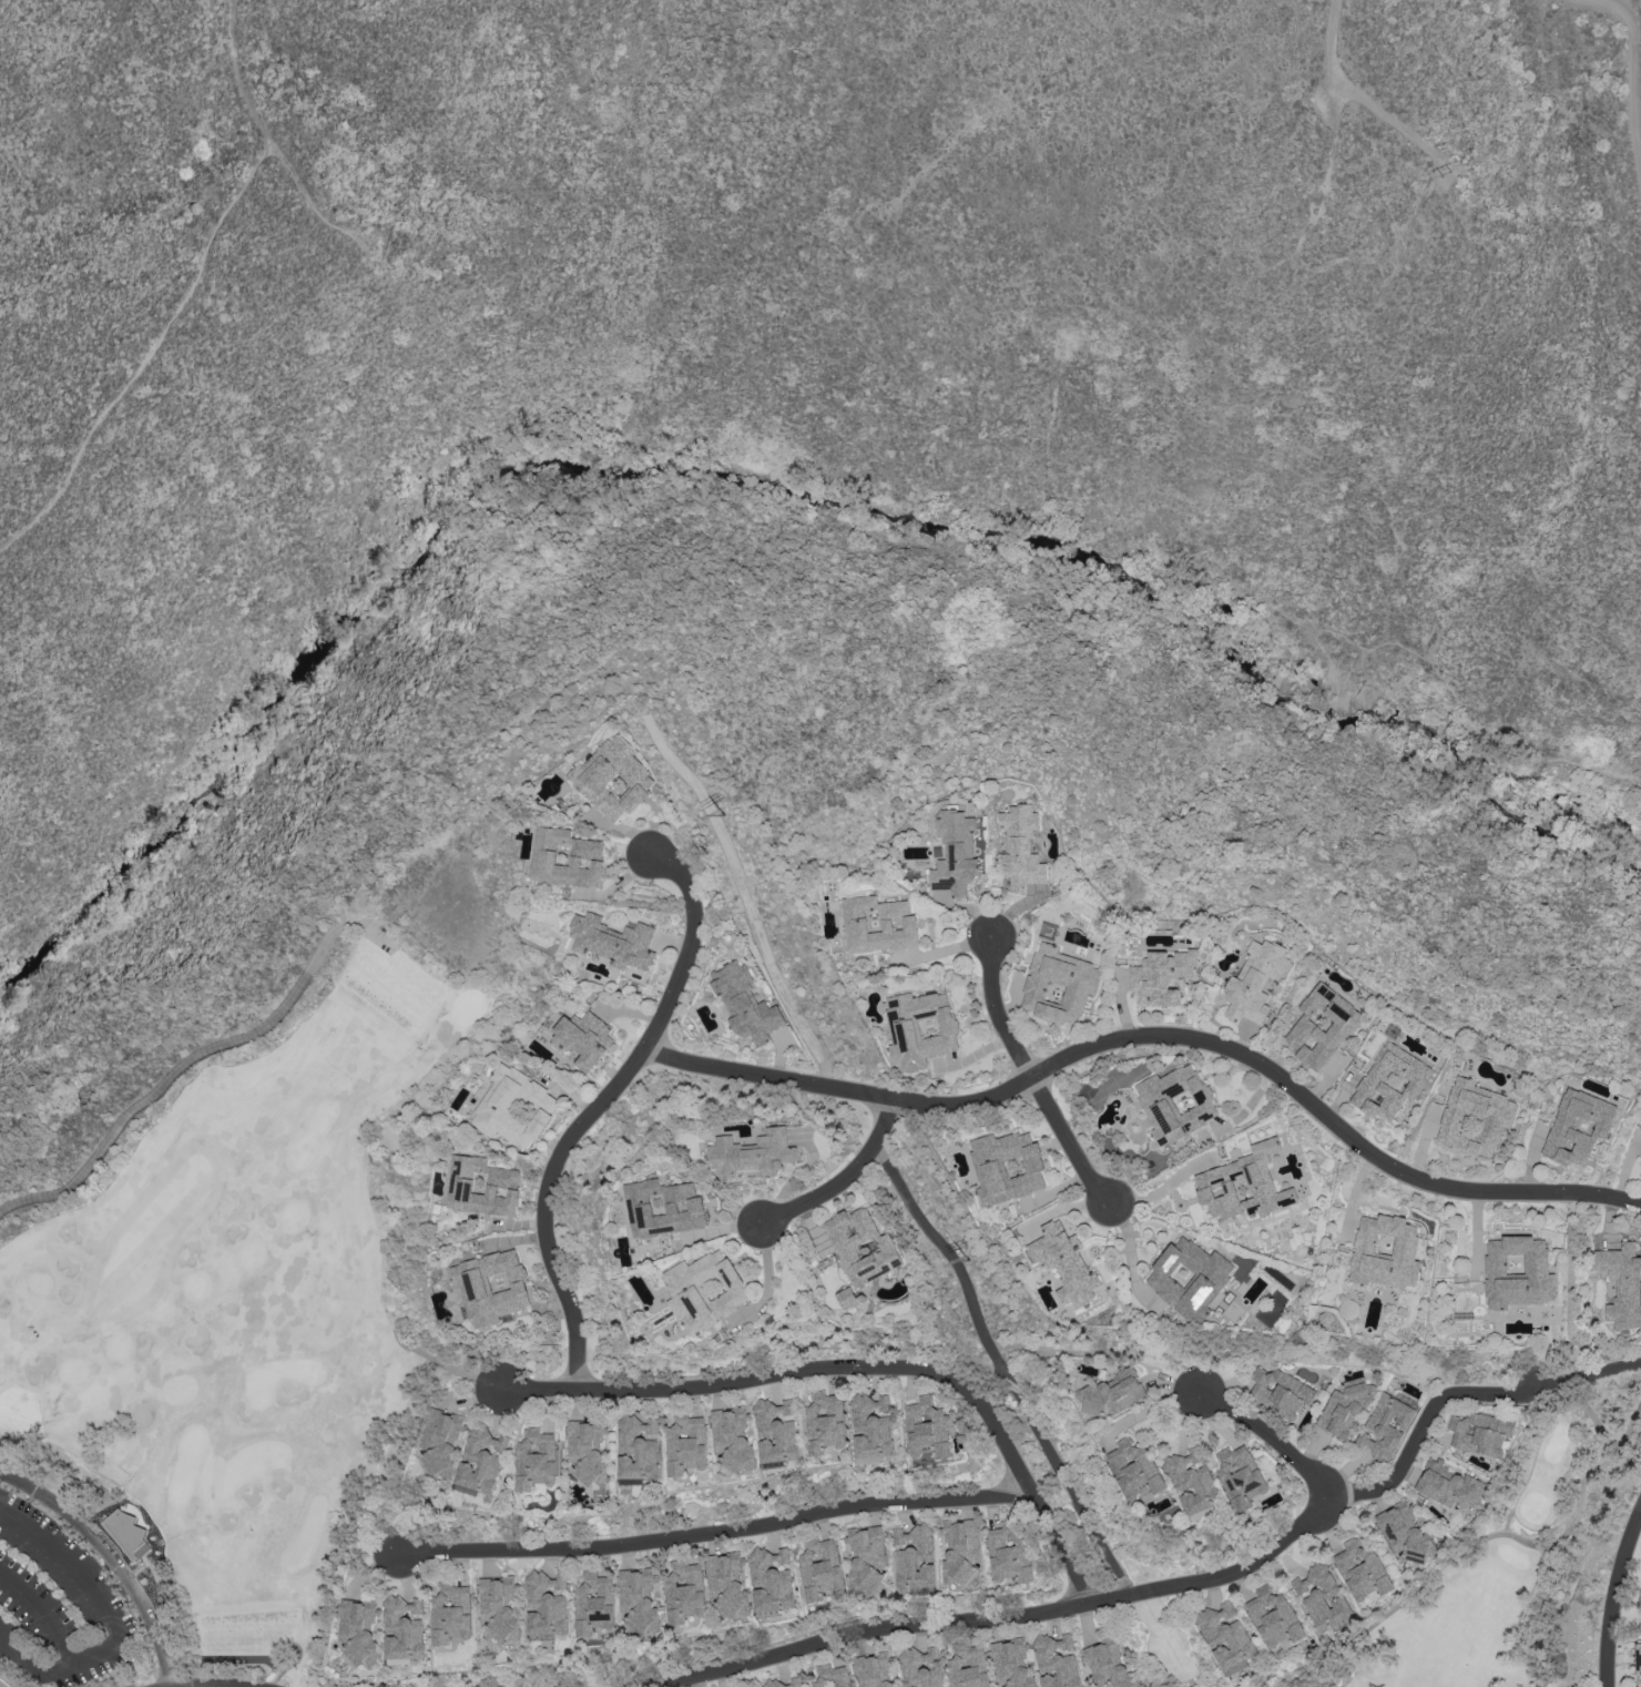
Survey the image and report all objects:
road: (1329, 39)
road: (1631, 64)
road: (1389, 122)
road: (275, 144)
road: (1329, 148)
power tower: (1447, 174)
power tower: (366, 235)
road: (147, 355)
power tower: (603, 662)
road: (1447, 683)
building: (612, 779)
building: (1020, 847)
power tower: (705, 851)
building: (955, 853)
building: (565, 858)
road: (743, 895)
building: (877, 924)
building: (612, 942)
building: (1160, 977)
building: (1254, 982)
building: (1058, 985)
building: (745, 1005)
building: (1321, 1026)
building: (919, 1028)
road: (1154, 1034)
building: (582, 1038)
road: (197, 1054)
road: (1031, 1074)
building: (1389, 1081)
building: (1175, 1102)
building: (513, 1108)
road: (595, 1109)
building: (1474, 1118)
building: (1578, 1127)
building: (754, 1155)
building: (1640, 1158)
building: (1007, 1167)
road: (843, 1177)
building: (1243, 1185)
building: (480, 1186)
building: (665, 1208)
building: (862, 1247)
building: (1385, 1251)
building: (1064, 1263)
building: (1517, 1272)
building: (1189, 1278)
building: (1622, 1283)
building: (491, 1287)
building: (706, 1290)
building: (846, 1298)
building: (1349, 1309)
road: (1002, 1368)
road: (713, 1384)
building: (1112, 1392)
building: (1280, 1392)
road: (1465, 1395)
building: (1343, 1410)
building: (824, 1422)
building: (872, 1426)
building: (1385, 1426)
building: (926, 1430)
building: (775, 1431)
building: (1480, 1433)
building: (731, 1437)
road: (1271, 1442)
building: (440, 1443)
building: (684, 1444)
building: (636, 1450)
building: (585, 1451)
building: (533, 1460)
building: (480, 1461)
building: (1134, 1468)
road: (1020, 1475)
building: (1240, 1477)
building: (1192, 1480)
building: (1447, 1484)
road: (717, 1531)
building: (125, 1534)
building: (1404, 1534)
building: (959, 1551)
building: (1008, 1551)
building: (866, 1557)
road: (112, 1558)
building: (914, 1559)
building: (819, 1568)
building: (1360, 1571)
building: (772, 1581)
building: (727, 1585)
building: (684, 1592)
road: (1615, 1596)
building: (1322, 1598)
building: (639, 1599)
building: (593, 1603)
building: (546, 1604)
building: (498, 1607)
road: (42, 1612)
building: (450, 1613)
road: (1001, 1613)
road: (113, 1615)
building: (1273, 1616)
building: (402, 1628)
building: (358, 1630)
building: (1226, 1636)
building: (1056, 1660)
building: (1010, 1663)
building: (1638, 1664)
building: (1108, 1665)
building: (967, 1667)
building: (919, 1668)
building: (873, 1670)
building: (786, 1683)

